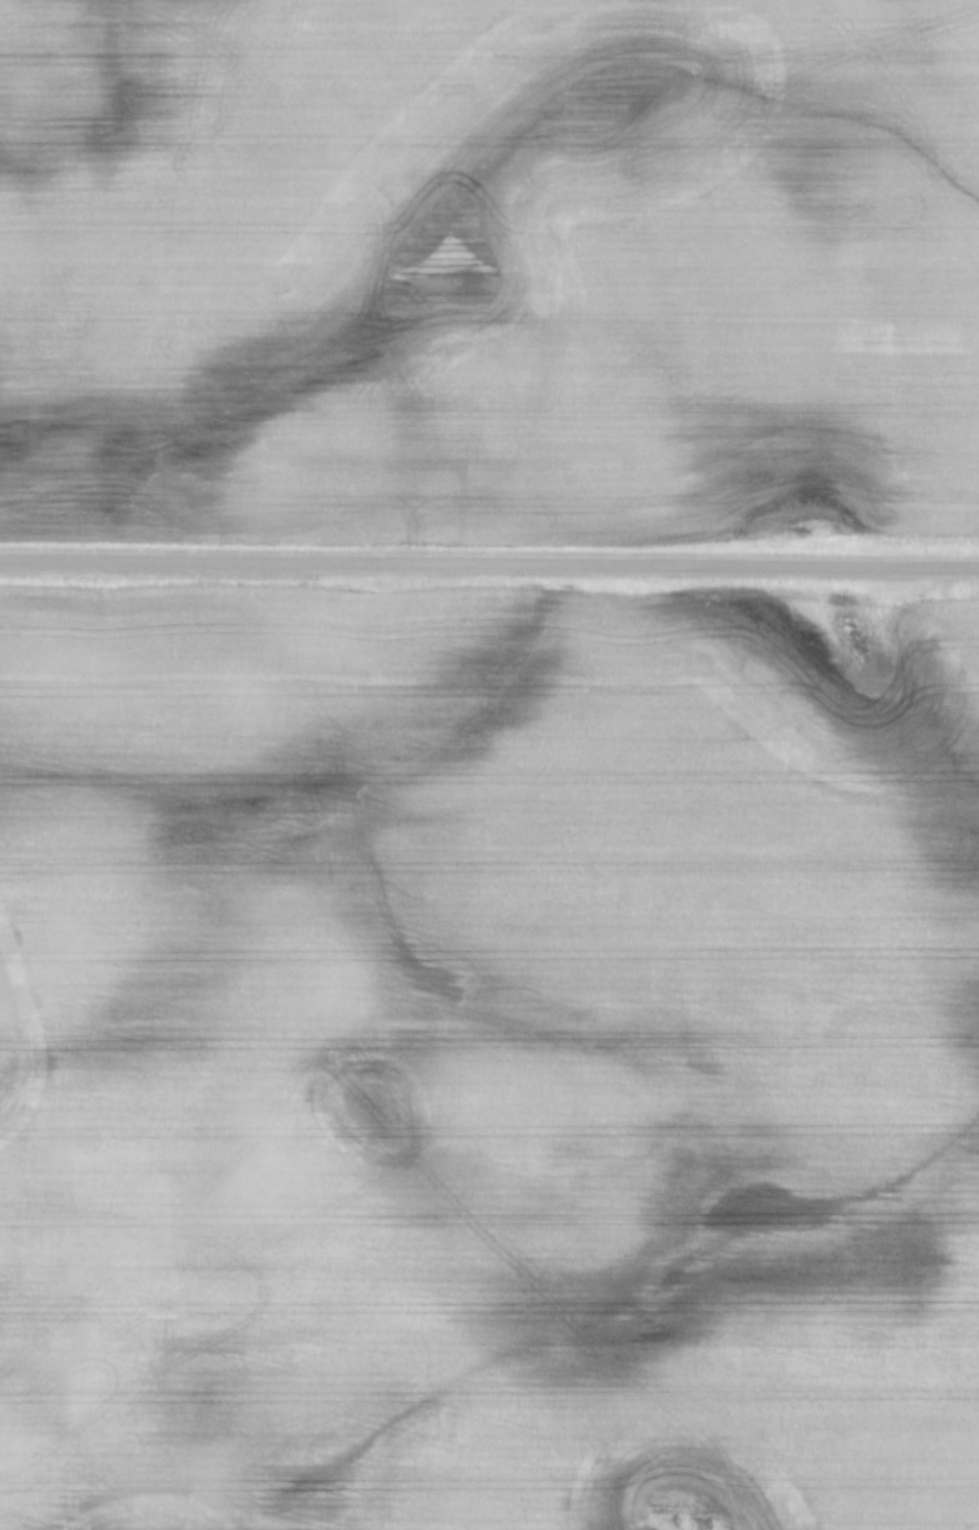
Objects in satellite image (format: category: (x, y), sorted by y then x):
road: (489, 567)

